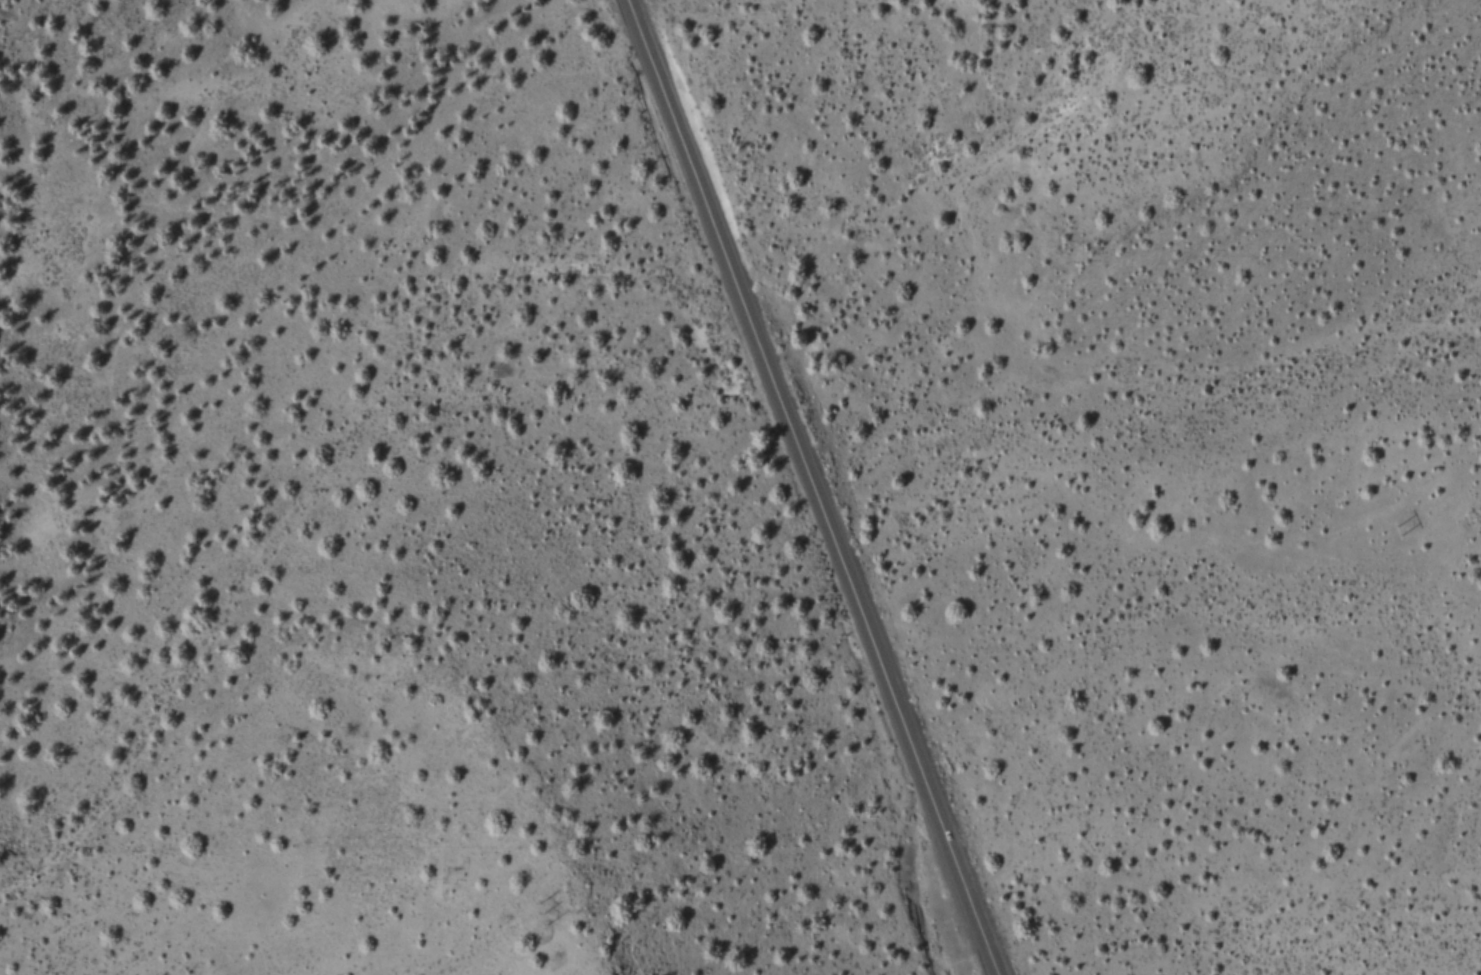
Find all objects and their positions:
road: (813, 487)

